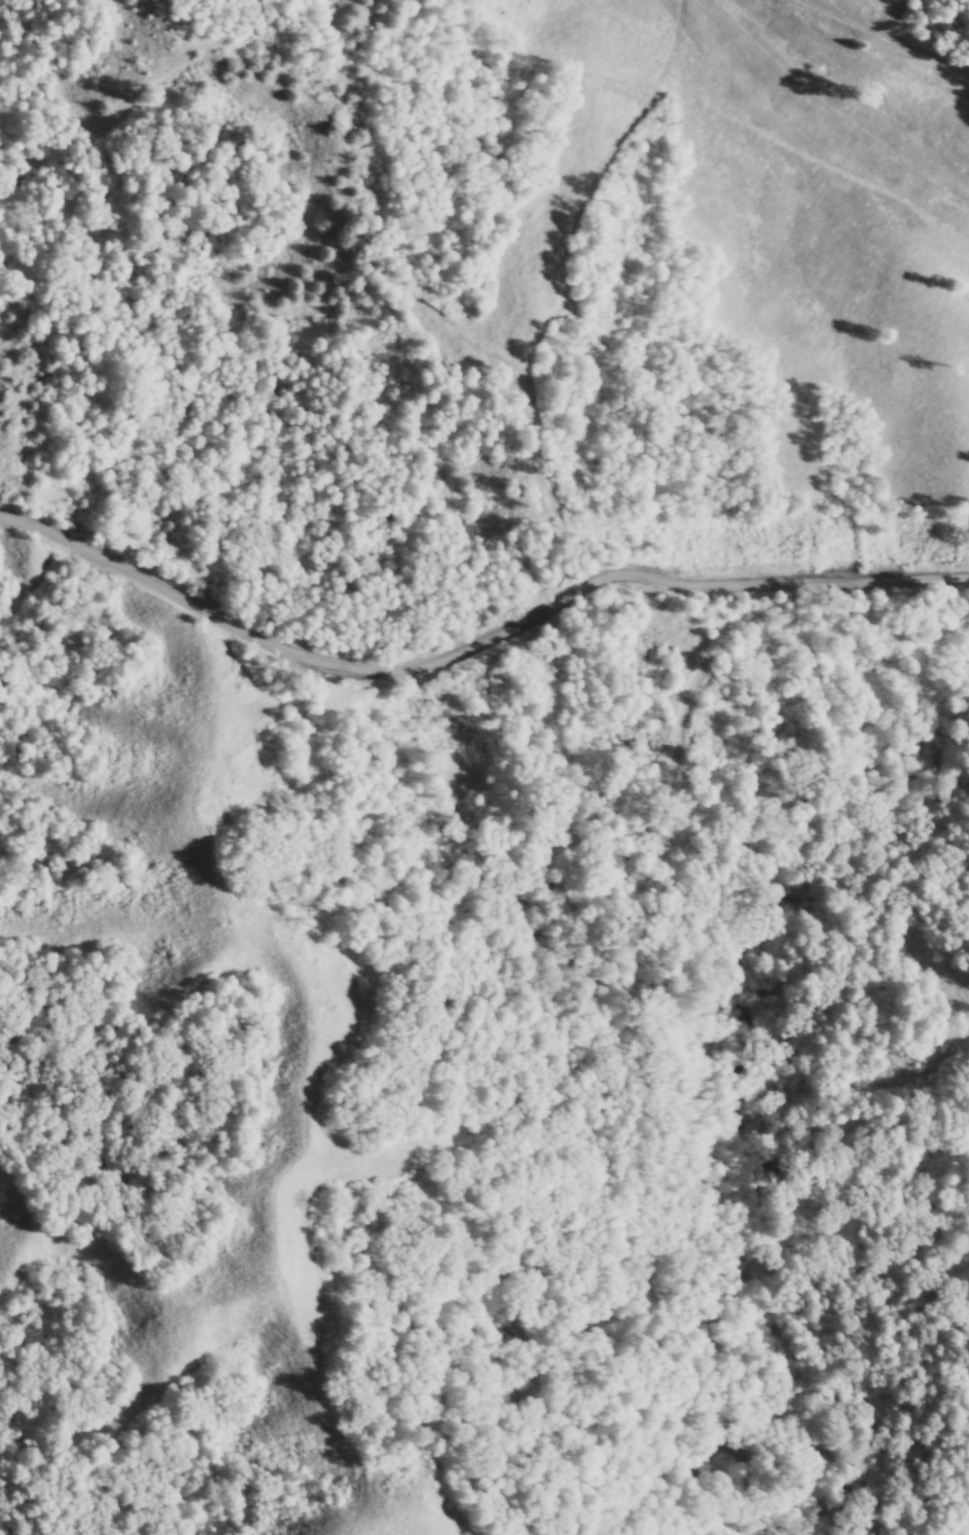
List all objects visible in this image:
road: (473, 642)
park: (495, 1049)

